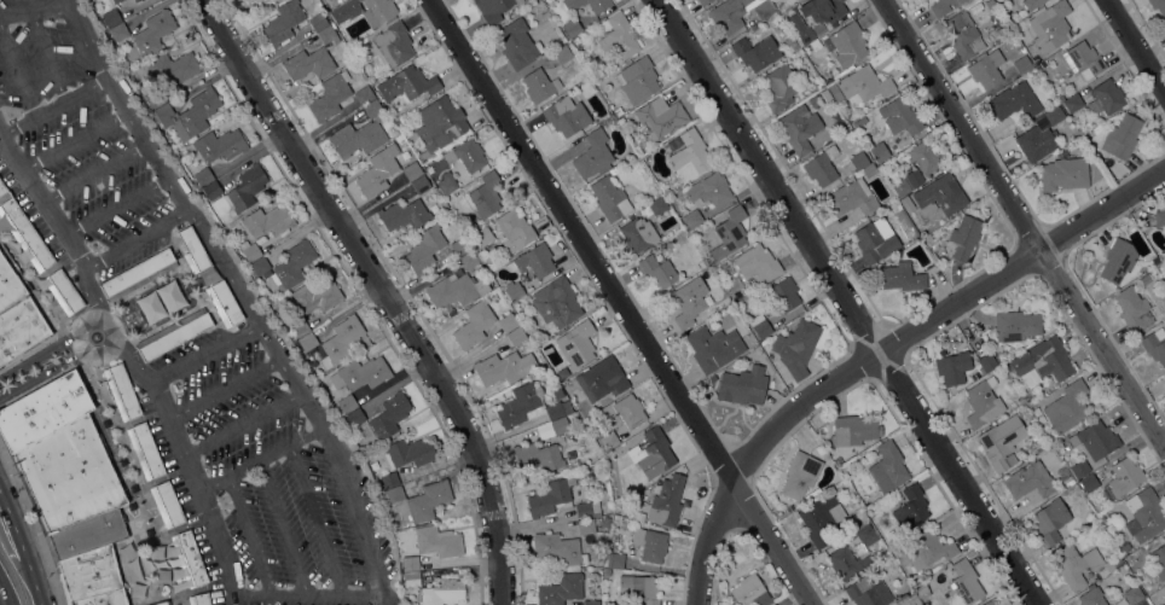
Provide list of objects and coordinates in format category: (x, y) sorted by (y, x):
building: (135, 0)
building: (271, 0)
building: (273, 0)
building: (115, 1)
building: (251, 1)
building: (703, 1)
building: (1032, 4)
building: (990, 5)
building: (943, 6)
building: (1158, 6)
building: (598, 7)
building: (494, 8)
building: (763, 8)
building: (823, 10)
road: (34, 11)
building: (365, 11)
building: (729, 14)
building: (996, 16)
building: (111, 17)
building: (283, 22)
building: (318, 22)
building: (572, 27)
building: (1049, 27)
building: (801, 30)
building: (118, 31)
building: (153, 33)
building: (963, 35)
building: (328, 36)
building: (619, 36)
road: (85, 39)
building: (393, 43)
building: (517, 43)
building: (790, 43)
building: (848, 43)
road: (1136, 46)
building: (755, 50)
building: (562, 54)
road: (47, 57)
building: (1036, 59)
building: (1083, 59)
building: (308, 63)
building: (1022, 64)
building: (173, 68)
building: (986, 69)
road: (17, 71)
building: (638, 80)
building: (407, 83)
building: (539, 86)
building: (862, 86)
building: (781, 87)
building: (831, 87)
building: (330, 95)
building: (364, 95)
building: (1106, 97)
building: (155, 98)
building: (815, 101)
building: (1014, 101)
building: (1073, 103)
road: (51, 109)
building: (373, 109)
building: (618, 111)
building: (190, 112)
building: (564, 115)
building: (1054, 115)
building: (661, 117)
building: (899, 117)
building: (621, 121)
building: (860, 122)
building: (439, 127)
building: (800, 128)
building: (1124, 135)
building: (358, 138)
building: (1036, 142)
building: (216, 145)
building: (879, 151)
building: (466, 155)
building: (593, 155)
building: (690, 157)
building: (923, 157)
building: (859, 161)
building: (822, 167)
building: (887, 169)
building: (378, 170)
building: (412, 170)
building: (613, 170)
building: (869, 170)
building: (1063, 174)
building: (203, 176)
building: (906, 181)
building: (421, 184)
building: (447, 185)
building: (2, 188)
building: (245, 188)
building: (709, 190)
building: (211, 191)
building: (453, 194)
building: (486, 194)
building: (940, 196)
building: (854, 197)
building: (610, 198)
road: (179, 202)
building: (906, 203)
building: (659, 205)
building: (404, 215)
building: (1159, 217)
building: (692, 219)
building: (267, 221)
road: (1024, 223)
building: (515, 228)
building: (637, 233)
building: (729, 233)
building: (25, 234)
building: (964, 237)
road: (135, 238)
building: (874, 243)
building: (460, 246)
building: (424, 248)
building: (193, 250)
building: (251, 252)
building: (470, 261)
building: (533, 261)
building: (1118, 261)
building: (758, 263)
building: (291, 264)
building: (260, 266)
building: (724, 266)
building: (1159, 268)
building: (657, 270)
building: (138, 274)
building: (902, 277)
building: (1144, 279)
building: (10, 284)
building: (452, 290)
building: (64, 291)
road: (383, 291)
building: (512, 291)
building: (784, 293)
building: (169, 296)
building: (315, 297)
building: (556, 302)
road: (624, 302)
building: (225, 303)
building: (688, 303)
road: (851, 303)
building: (150, 307)
building: (1136, 309)
road: (940, 315)
building: (508, 322)
building: (474, 324)
building: (1016, 325)
building: (760, 326)
building: (299, 327)
building: (21, 328)
building: (516, 336)
building: (175, 337)
building: (308, 341)
building: (340, 341)
road: (267, 343)
building: (576, 343)
building: (1154, 344)
road: (53, 347)
building: (796, 348)
building: (709, 349)
road: (203, 353)
building: (1044, 359)
road: (133, 361)
building: (986, 361)
road: (58, 365)
building: (503, 367)
building: (952, 367)
building: (360, 373)
road: (289, 377)
building: (599, 379)
building: (738, 388)
building: (122, 391)
road: (221, 391)
building: (983, 402)
building: (347, 403)
building: (518, 405)
building: (1066, 407)
building: (557, 409)
building: (625, 411)
building: (42, 412)
building: (1036, 412)
building: (389, 415)
building: (355, 417)
building: (1041, 419)
road: (238, 425)
building: (560, 425)
building: (853, 430)
building: (1096, 440)
building: (609, 441)
building: (657, 448)
building: (819, 449)
building: (997, 449)
building: (146, 450)
building: (407, 452)
building: (538, 456)
road: (254, 460)
building: (836, 460)
building: (889, 464)
building: (1079, 467)
building: (800, 475)
building: (70, 476)
building: (1124, 476)
building: (387, 481)
building: (1030, 482)
building: (1088, 483)
road: (346, 494)
building: (550, 496)
building: (416, 501)
building: (667, 501)
building: (167, 504)
building: (910, 508)
building: (587, 510)
building: (1144, 514)
road: (315, 518)
building: (821, 518)
building: (1050, 520)
building: (607, 522)
road: (532, 525)
building: (587, 525)
road: (283, 527)
building: (87, 535)
road: (248, 535)
building: (865, 535)
road: (17, 539)
building: (1163, 539)
building: (436, 541)
road: (709, 541)
building: (650, 543)
building: (1125, 547)
building: (558, 548)
building: (927, 548)
road: (12, 557)
building: (190, 558)
building: (615, 560)
building: (1158, 560)
building: (847, 562)
building: (408, 563)
building: (1079, 564)
building: (605, 572)
building: (89, 575)
building: (940, 576)
railway: (8, 580)
building: (412, 580)
building: (964, 582)
building: (561, 589)
building: (638, 589)
road: (39, 592)
building: (444, 592)
building: (750, 592)
building: (864, 593)
road: (326, 594)
building: (1132, 595)
building: (1091, 597)
road: (249, 598)
building: (104, 599)
building: (199, 599)
road: (0, 601)
road: (386, 601)
building: (591, 601)
building: (912, 601)
building: (989, 603)
building: (164, 604)

